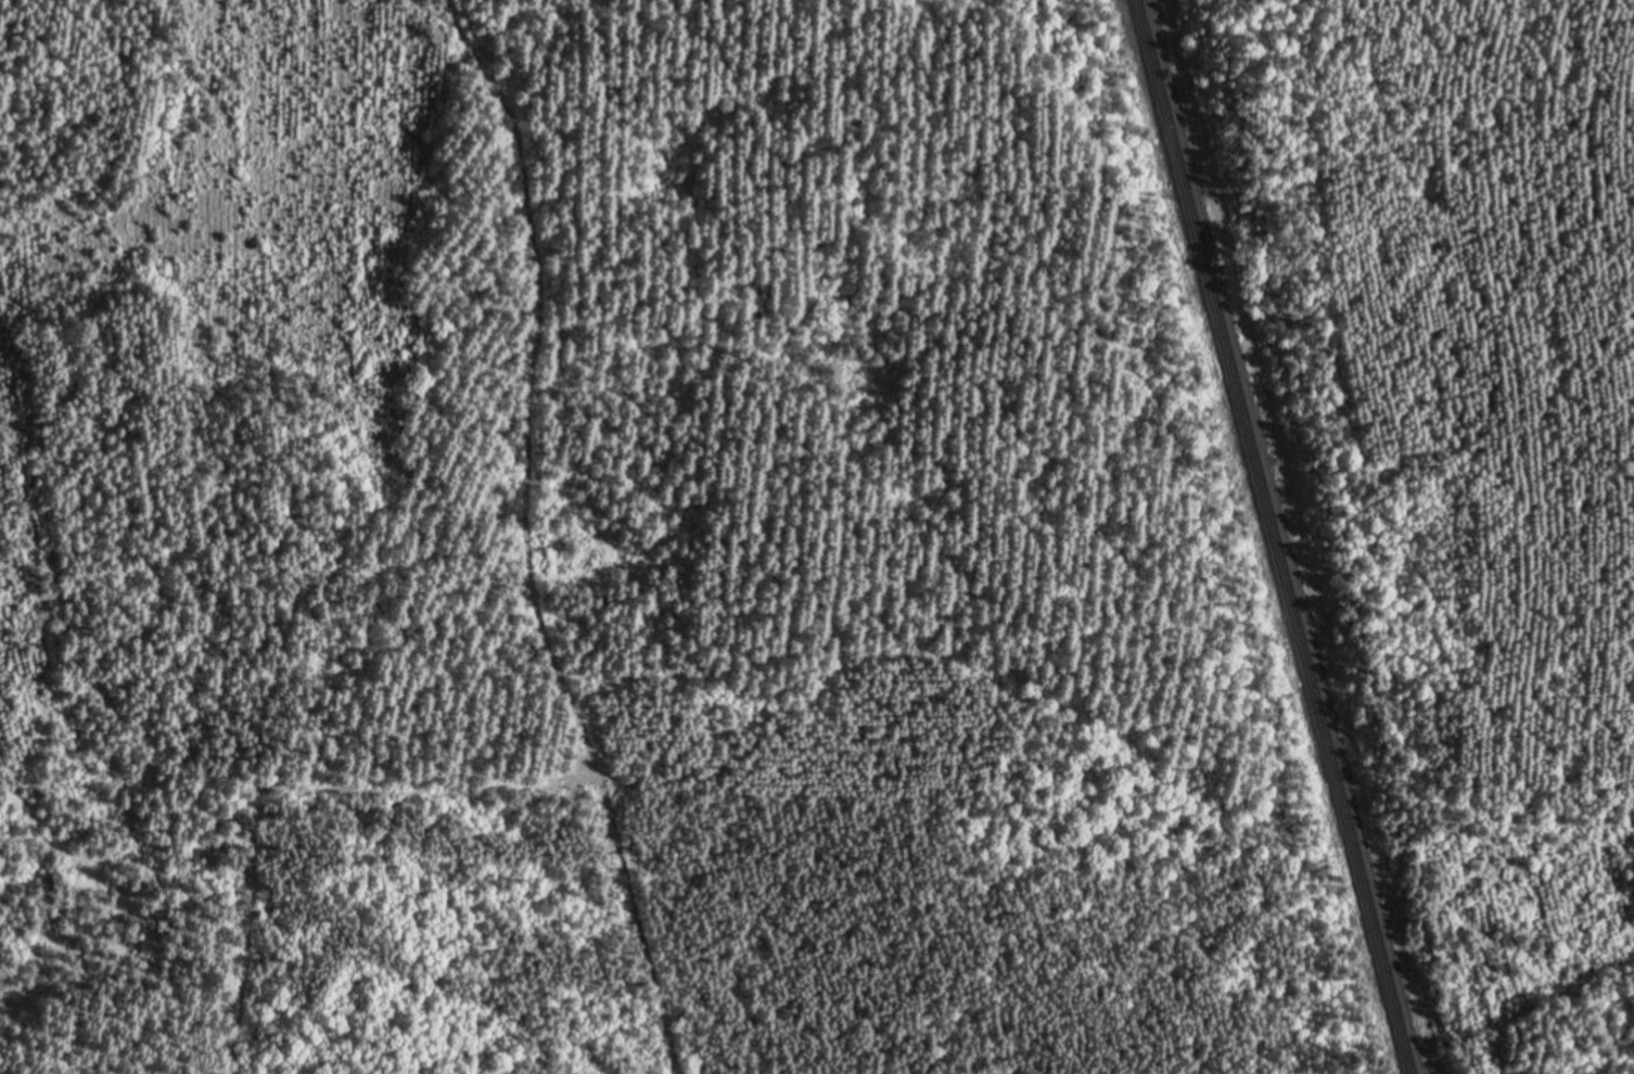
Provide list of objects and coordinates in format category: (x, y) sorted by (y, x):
road: (1195, 122)
road: (524, 537)
railway: (1278, 537)

